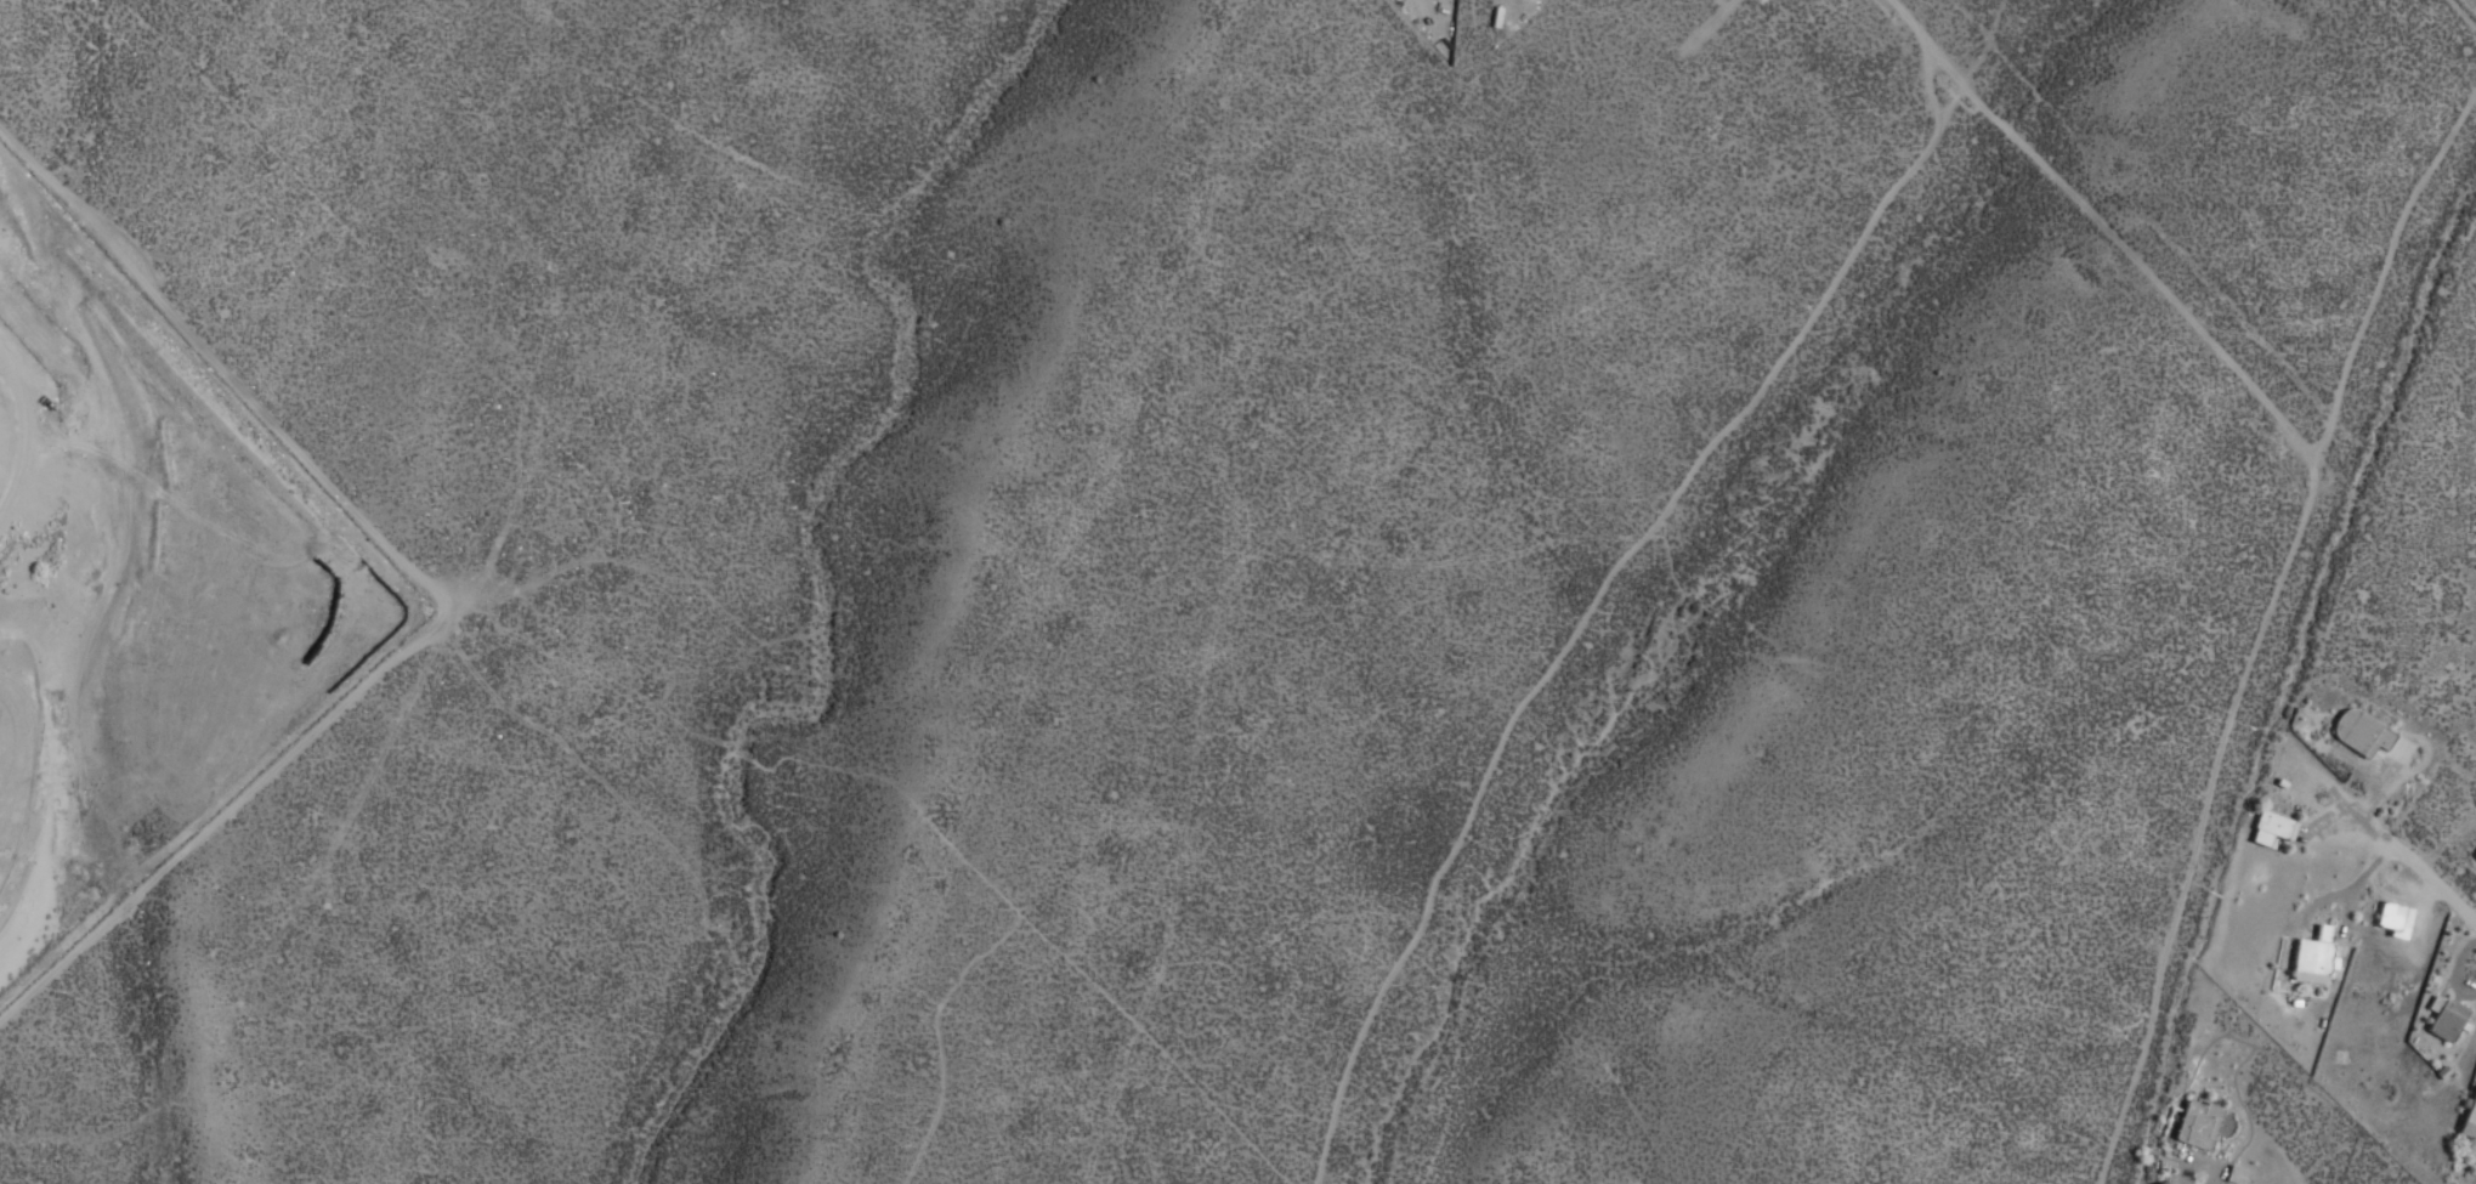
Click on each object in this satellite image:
landfill: (145, 597)
building: (2268, 828)
building: (2474, 856)
road: (2418, 871)
building: (2391, 918)
building: (2311, 957)
building: (2469, 1116)
building: (2159, 1183)

